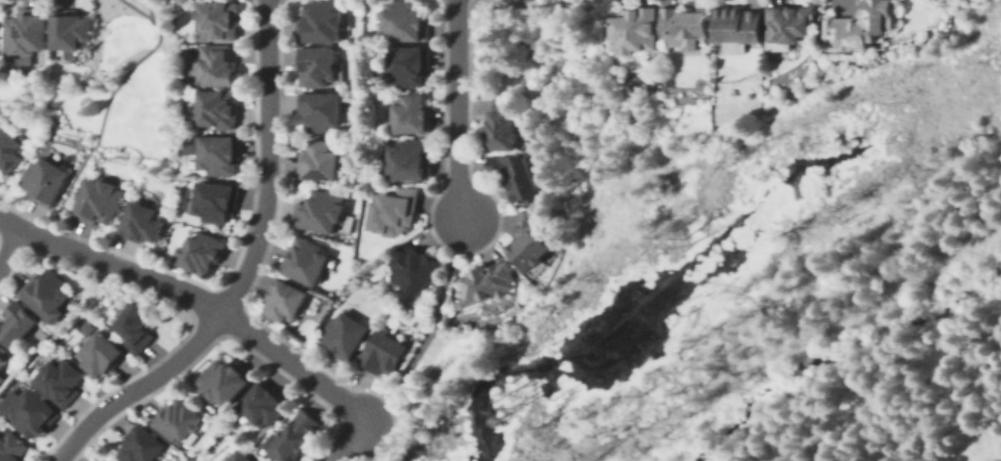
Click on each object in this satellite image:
building: (214, 20)
building: (401, 20)
building: (317, 22)
building: (684, 23)
building: (763, 23)
building: (862, 23)
building: (68, 27)
building: (632, 28)
building: (26, 31)
building: (212, 65)
building: (315, 65)
building: (404, 65)
building: (212, 109)
road: (457, 110)
building: (316, 111)
building: (408, 115)
building: (497, 126)
building: (9, 150)
building: (214, 155)
building: (317, 160)
building: (406, 160)
building: (513, 175)
building: (44, 179)
building: (98, 200)
building: (212, 200)
building: (317, 211)
building: (391, 211)
building: (140, 222)
building: (526, 242)
road: (9, 248)
building: (199, 253)
building: (303, 261)
building: (412, 268)
road: (245, 269)
building: (484, 284)
building: (47, 293)
road: (196, 296)
building: (281, 302)
building: (19, 324)
building: (132, 326)
road: (426, 327)
building: (341, 334)
building: (381, 353)
building: (98, 354)
building: (4, 359)
building: (62, 379)
building: (221, 382)
building: (260, 403)
building: (34, 414)
building: (174, 421)
building: (292, 435)
road: (348, 442)
building: (14, 446)
building: (140, 446)
building: (237, 457)
building: (120, 459)
building: (92, 460)
building: (110, 460)
building: (253, 460)

